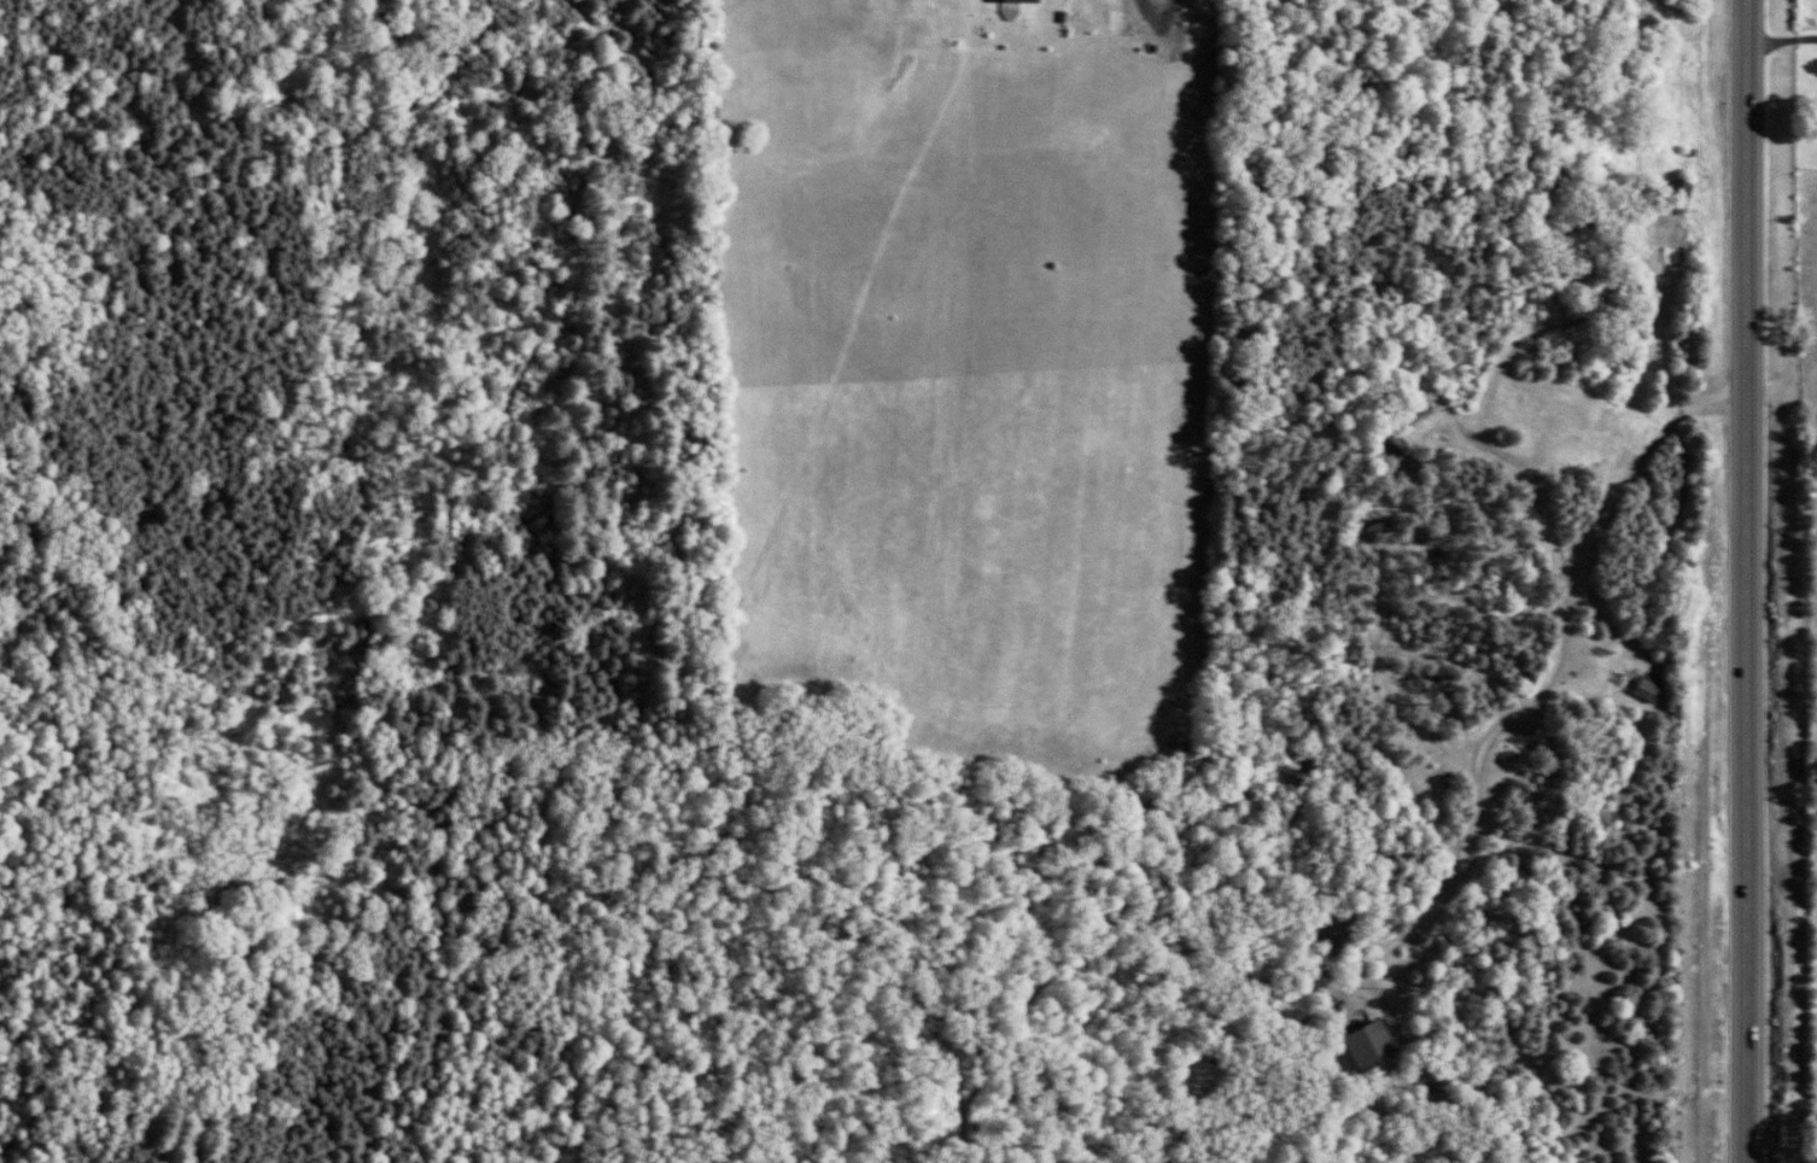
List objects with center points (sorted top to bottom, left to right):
building: (1687, 189)
building: (1427, 408)
road: (1748, 580)
building: (1655, 689)

